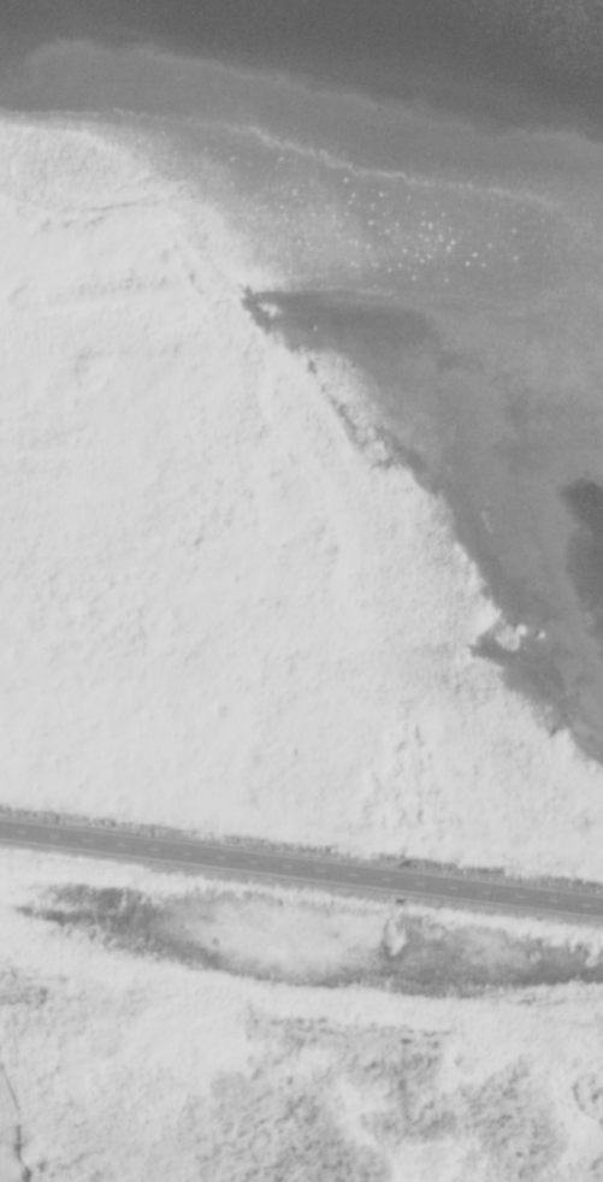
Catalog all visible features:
road: (301, 876)

